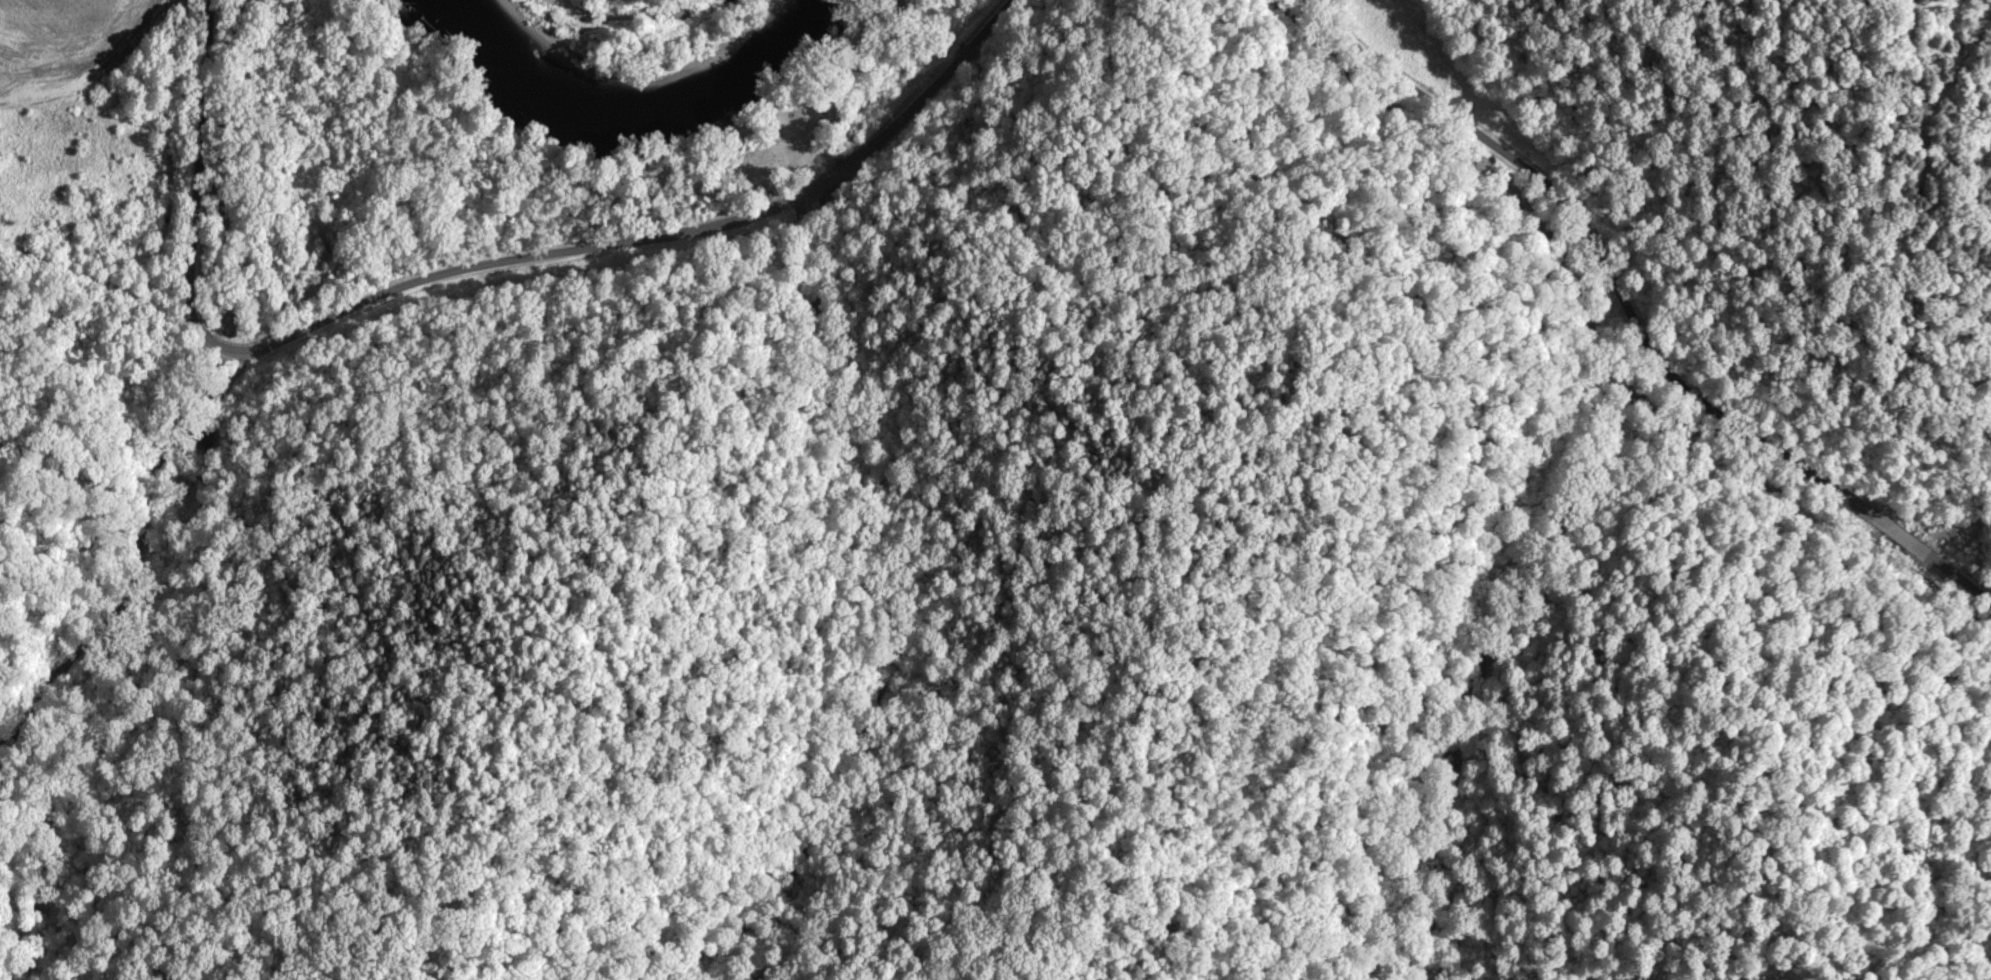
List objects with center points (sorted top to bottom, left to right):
road: (473, 271)
road: (1631, 322)

